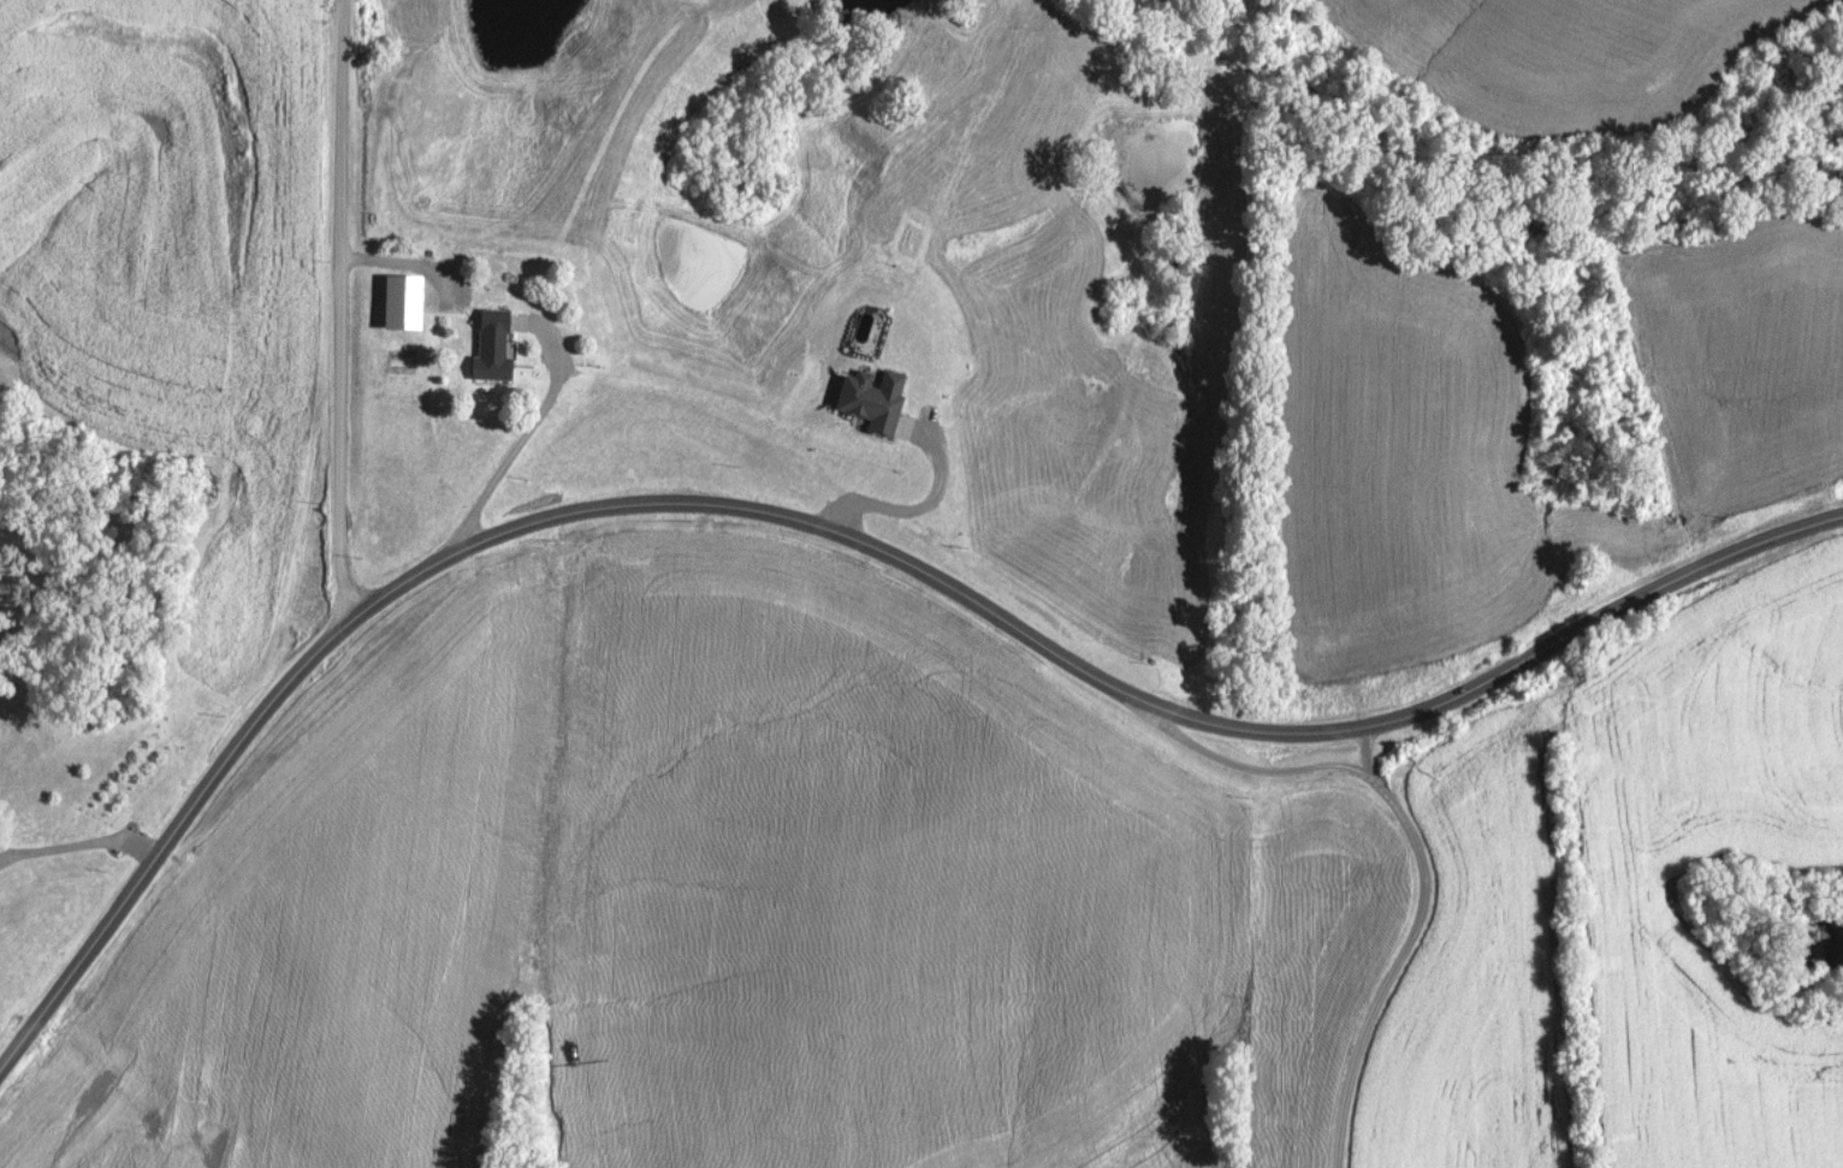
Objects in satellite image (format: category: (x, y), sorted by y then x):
building: (896, 241)
building: (423, 284)
road: (340, 309)
building: (498, 348)
road: (521, 449)
road: (962, 594)
road: (1254, 769)
road: (79, 843)
road: (1415, 943)
road: (81, 962)

